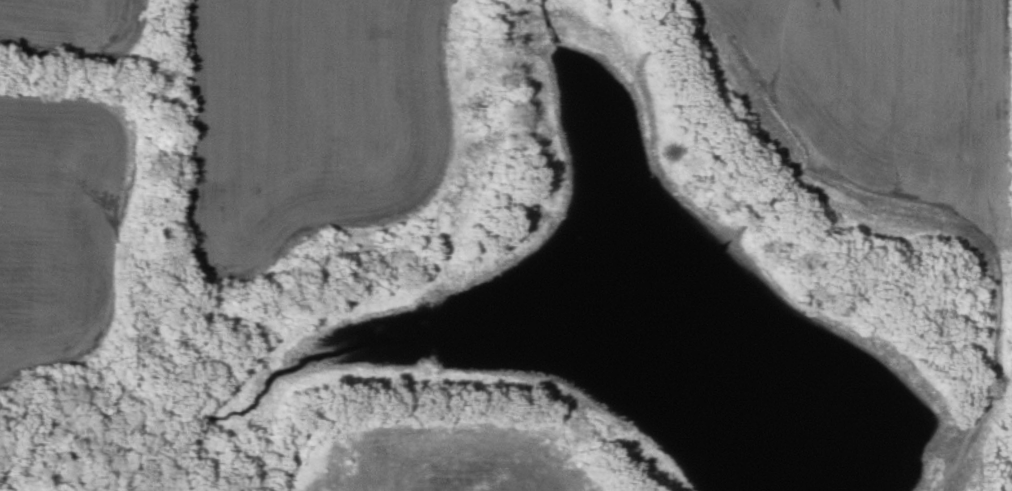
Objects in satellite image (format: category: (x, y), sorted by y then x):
crop: (69, 29)
crop: (868, 111)
crop: (308, 130)
crop: (57, 223)

